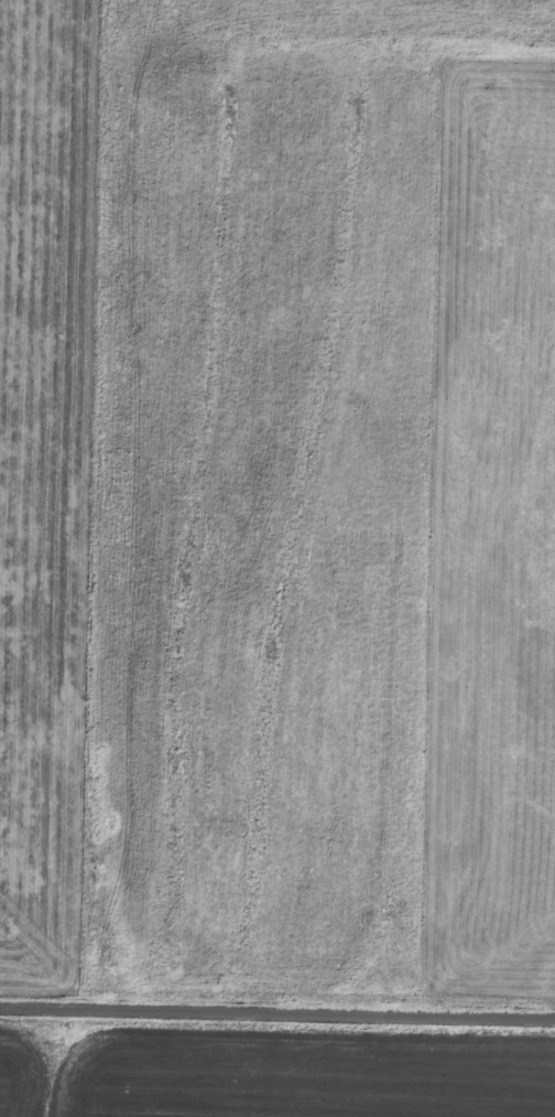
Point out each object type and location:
road: (277, 1012)

